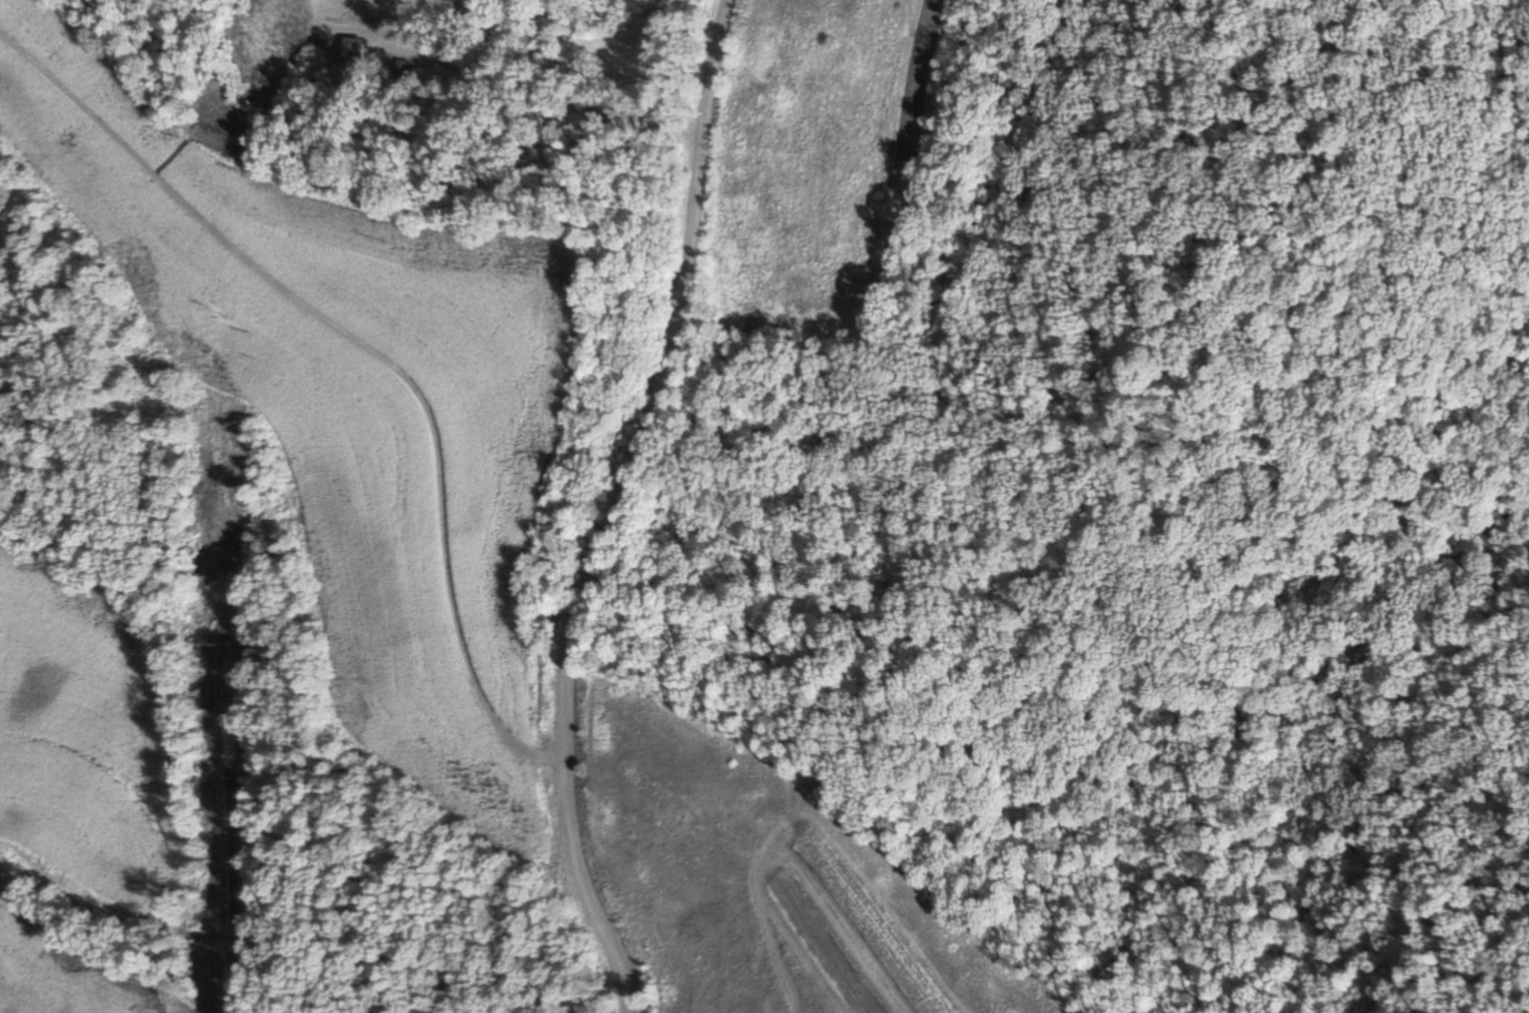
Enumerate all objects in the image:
power tower: (225, 135)
road: (609, 501)
power tower: (223, 645)

